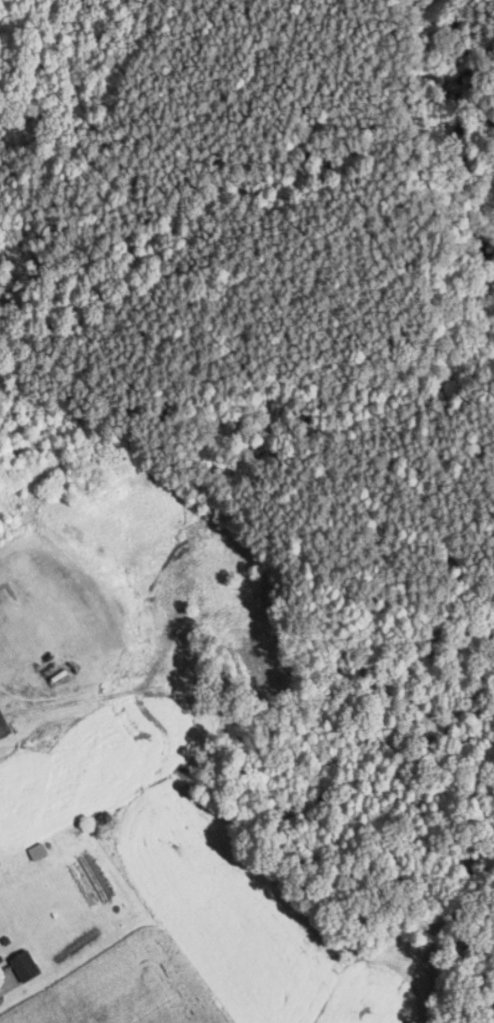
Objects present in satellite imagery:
building: (41, 852)
building: (32, 967)

